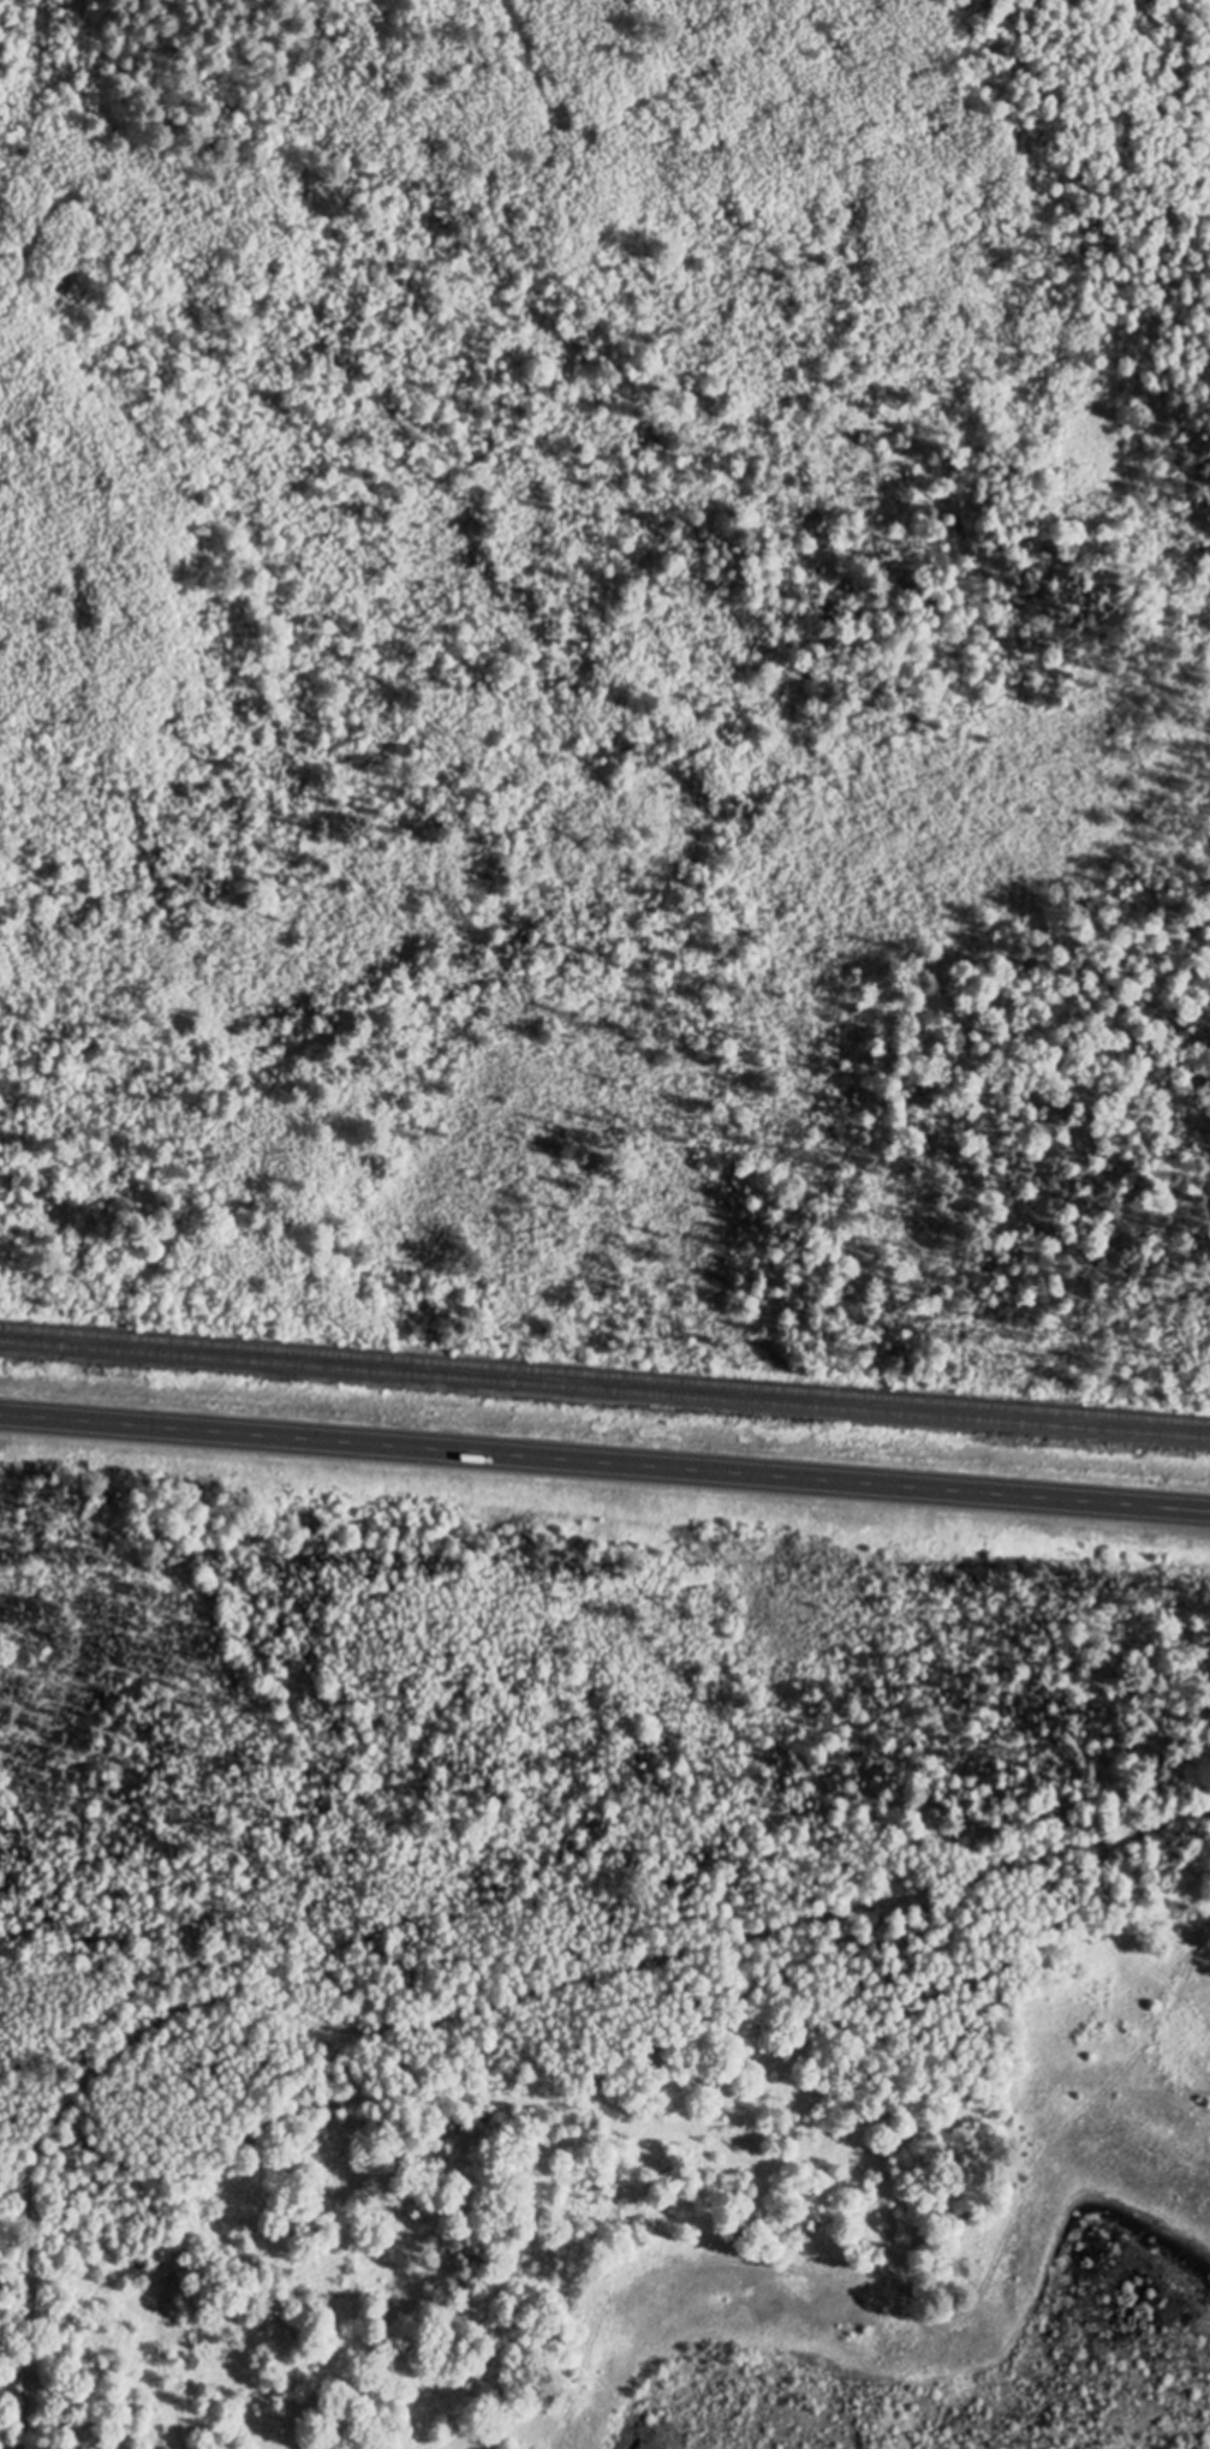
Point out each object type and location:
railway: (604, 1376)
railway: (604, 1392)
road: (604, 1462)
road: (452, 2014)
road: (932, 2322)

